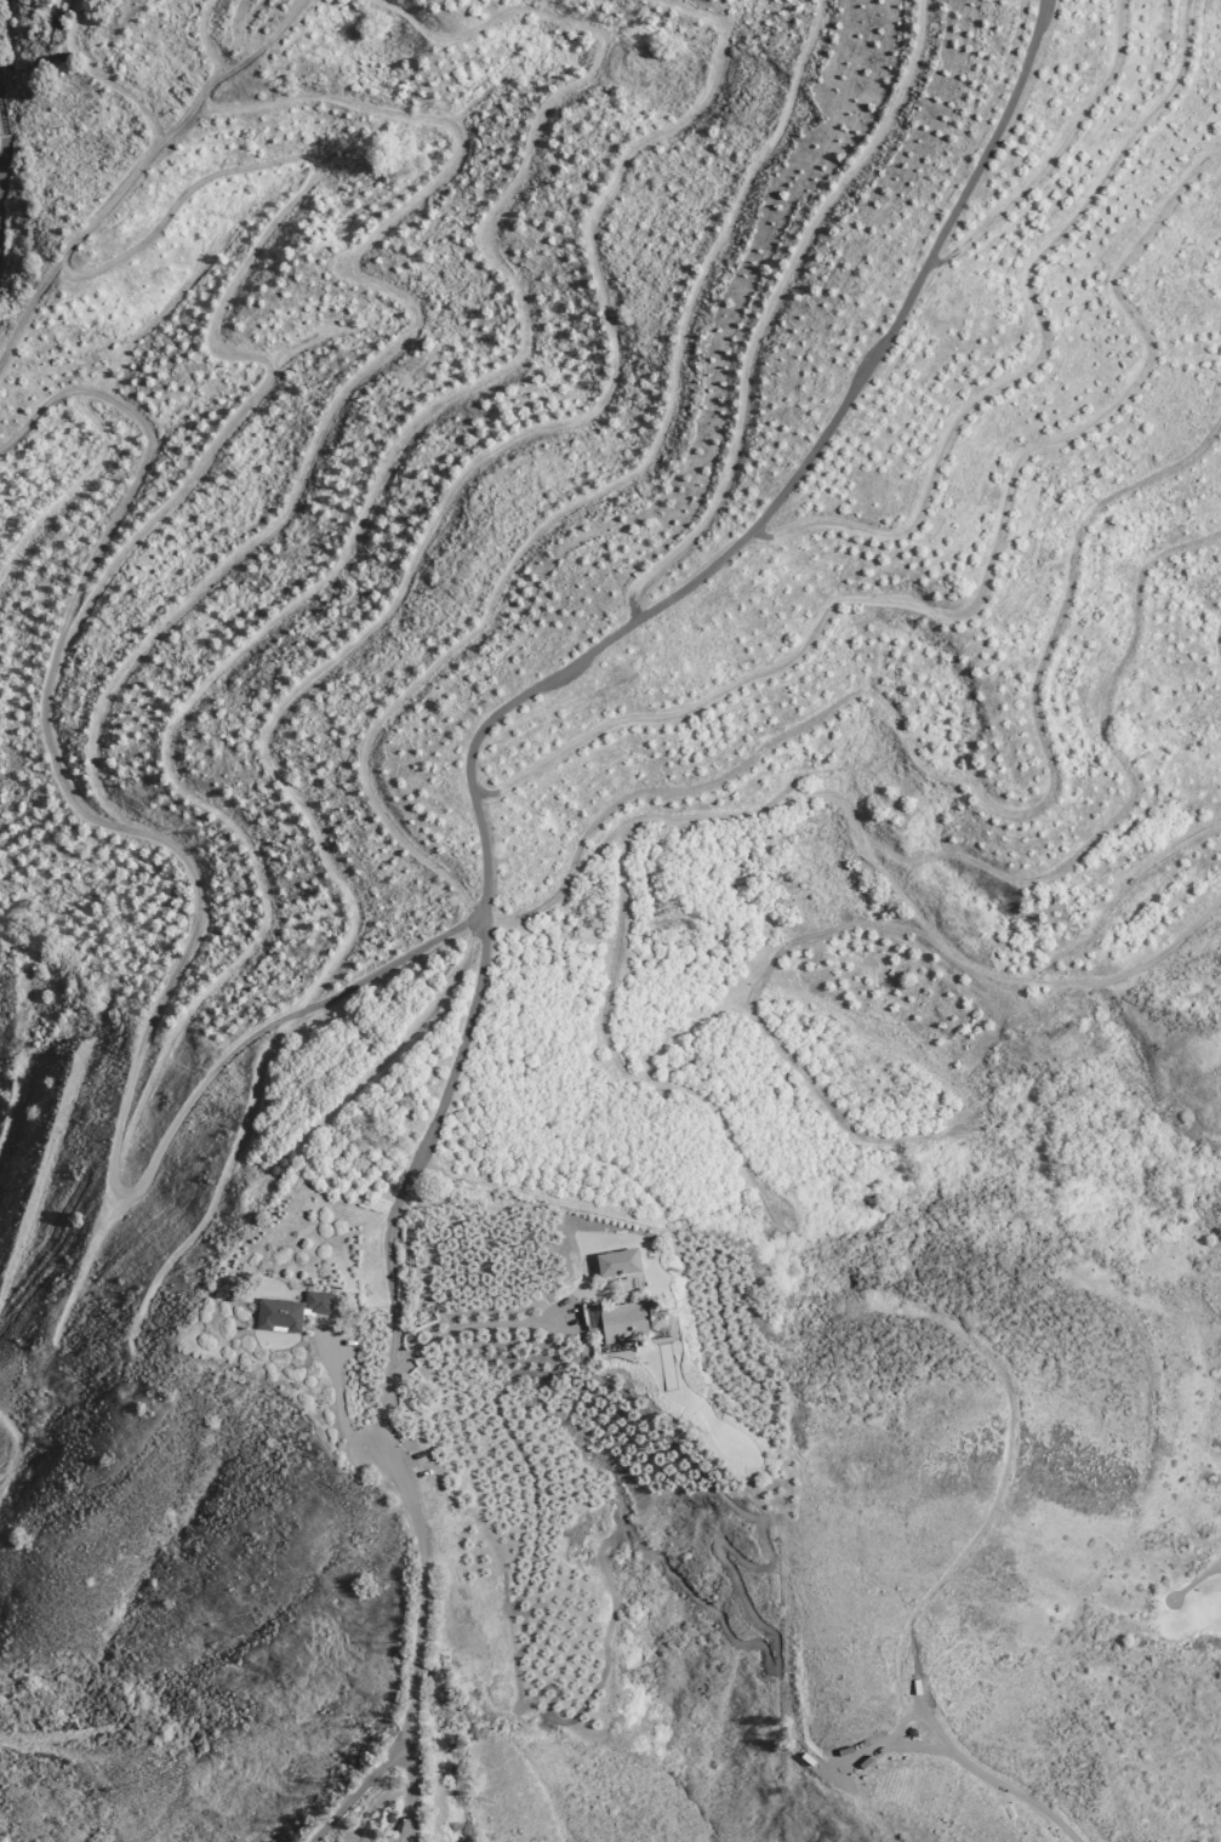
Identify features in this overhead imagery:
road: (0, 141)
road: (565, 668)
building: (620, 1265)
building: (293, 1312)
building: (660, 1318)
building: (626, 1323)
park: (1187, 1610)
road: (420, 1654)
road: (997, 1781)

